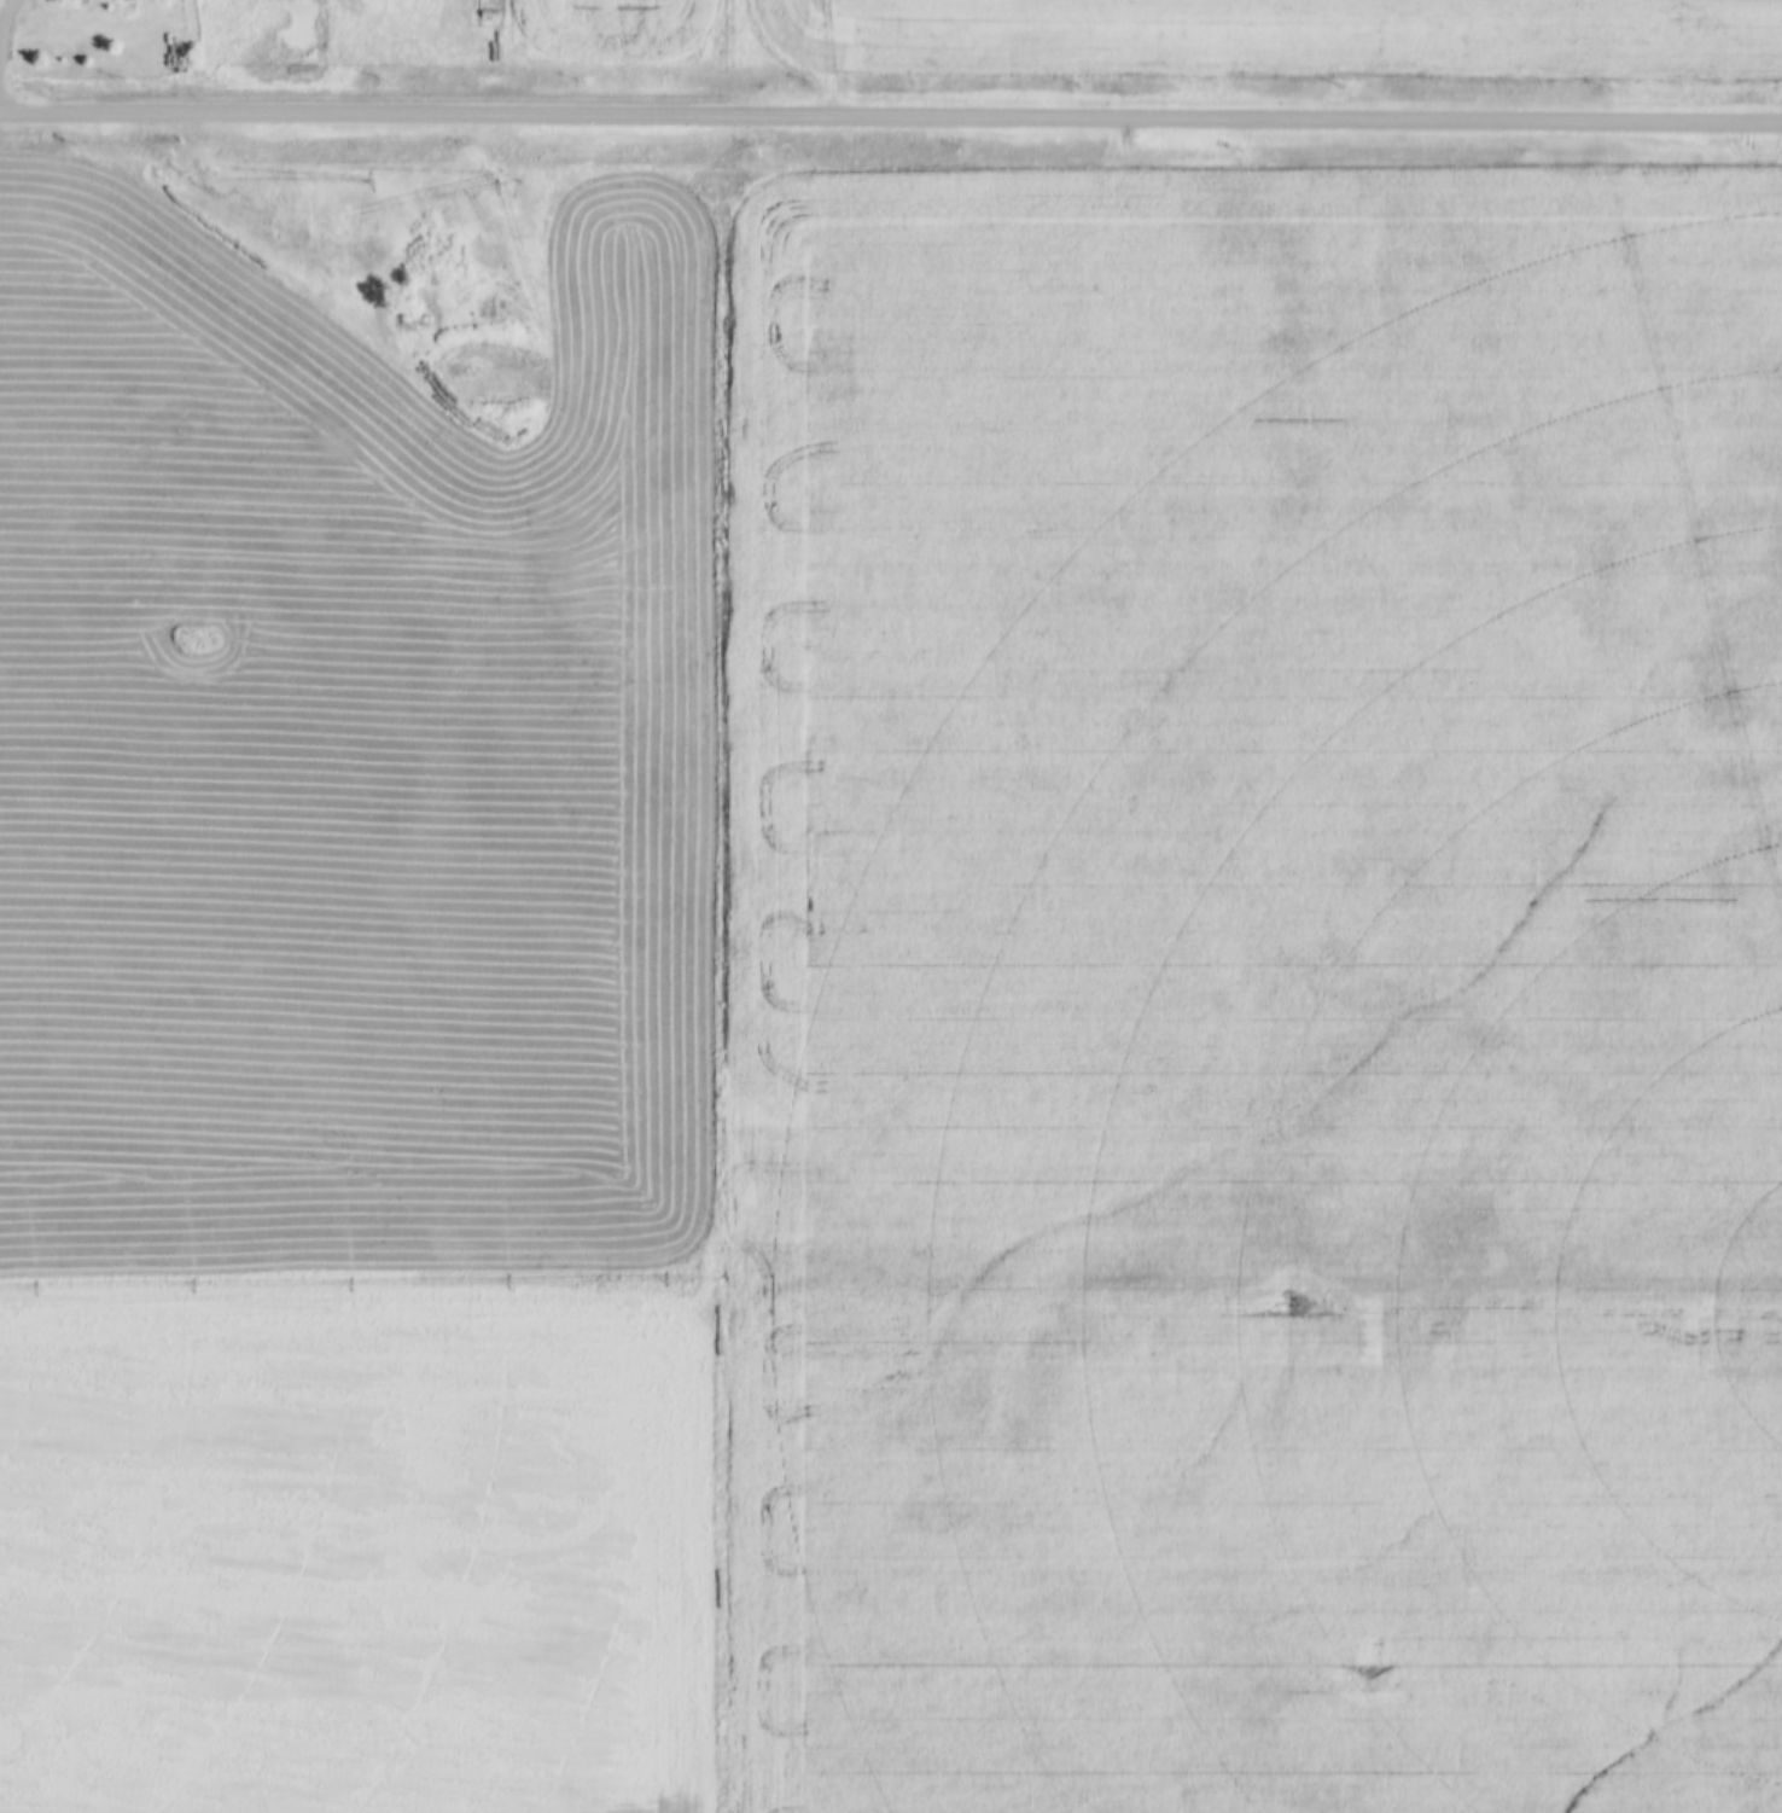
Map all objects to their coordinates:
building: (130, 1)
road: (5, 35)
road: (1, 40)
road: (891, 117)

